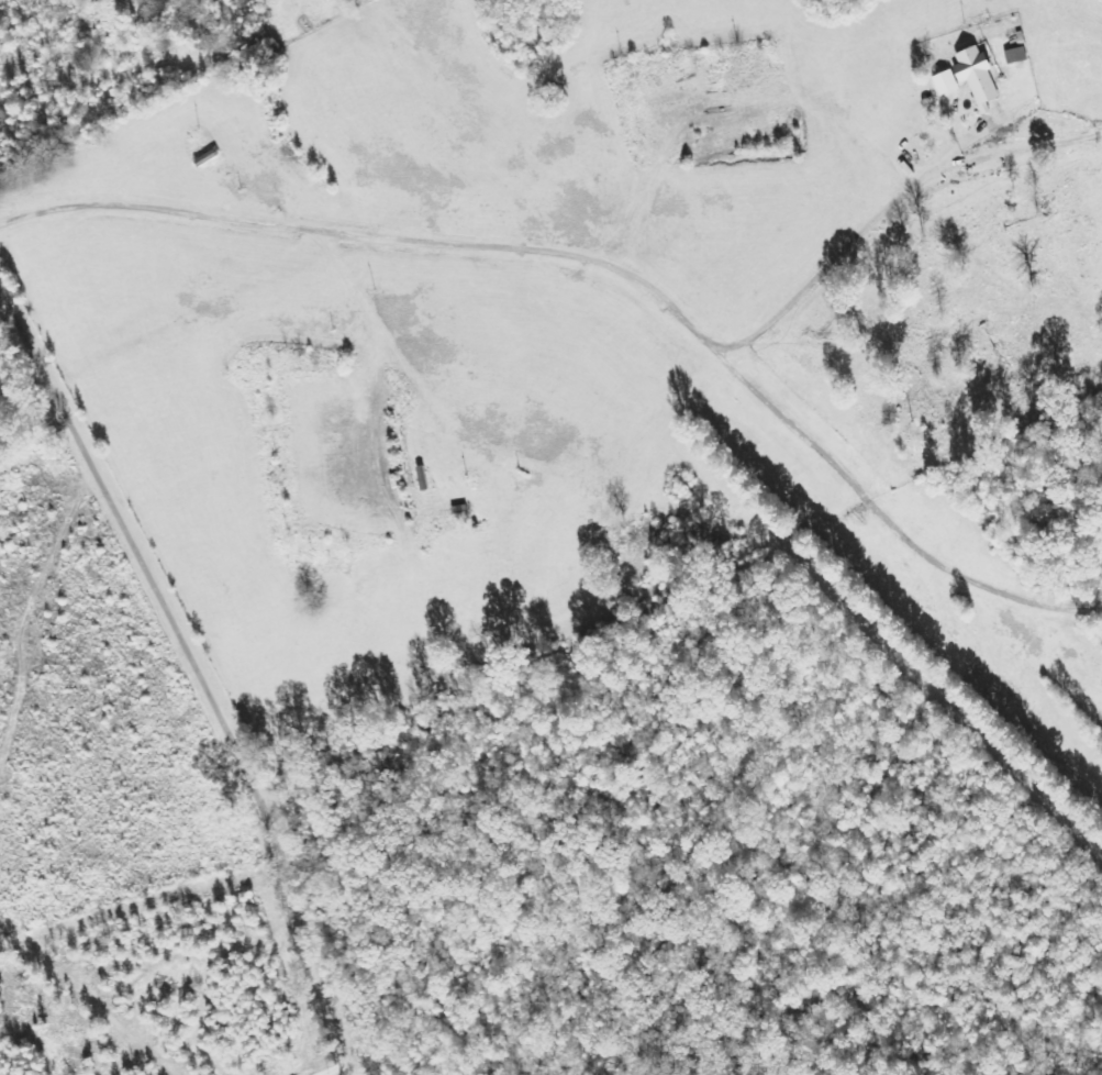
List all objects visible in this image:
building: (973, 78)
road: (554, 251)
road: (198, 671)
road: (336, 1070)

